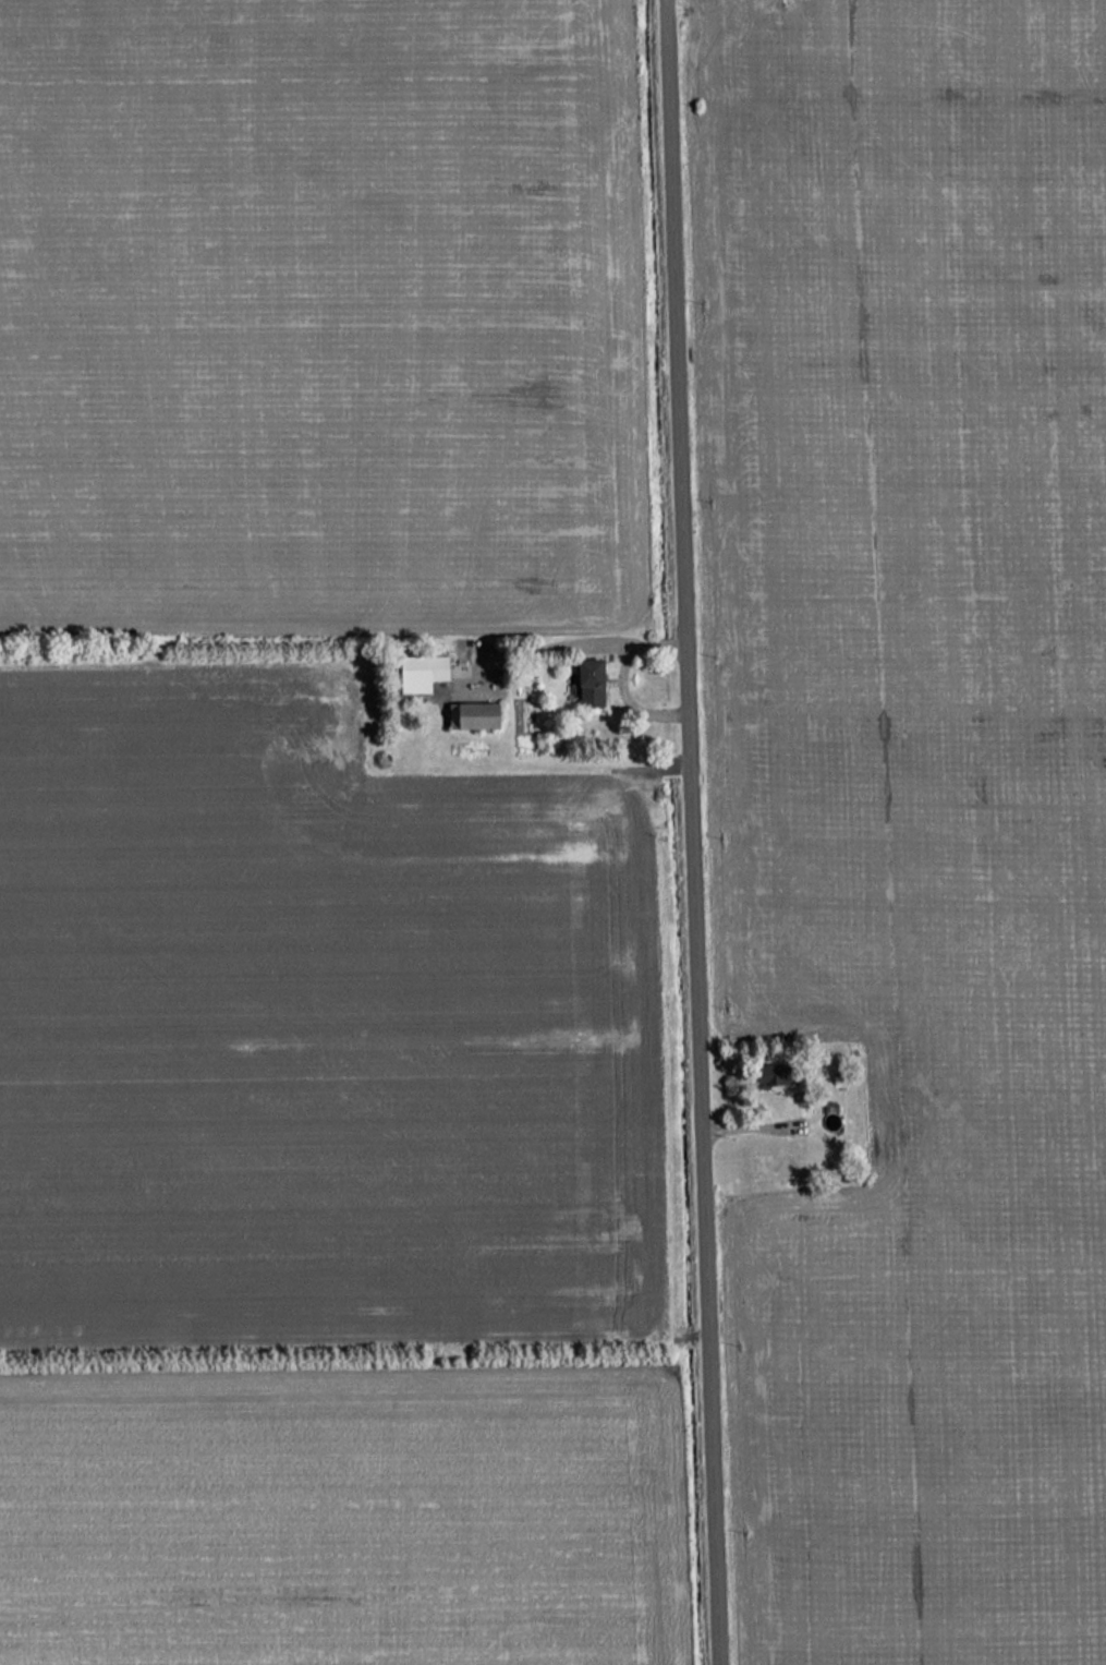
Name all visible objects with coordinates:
crop: (321, 316)
building: (418, 673)
building: (584, 684)
building: (470, 715)
crop: (917, 807)
road: (695, 832)
crop: (312, 1026)
building: (769, 1076)
crop: (339, 1513)

